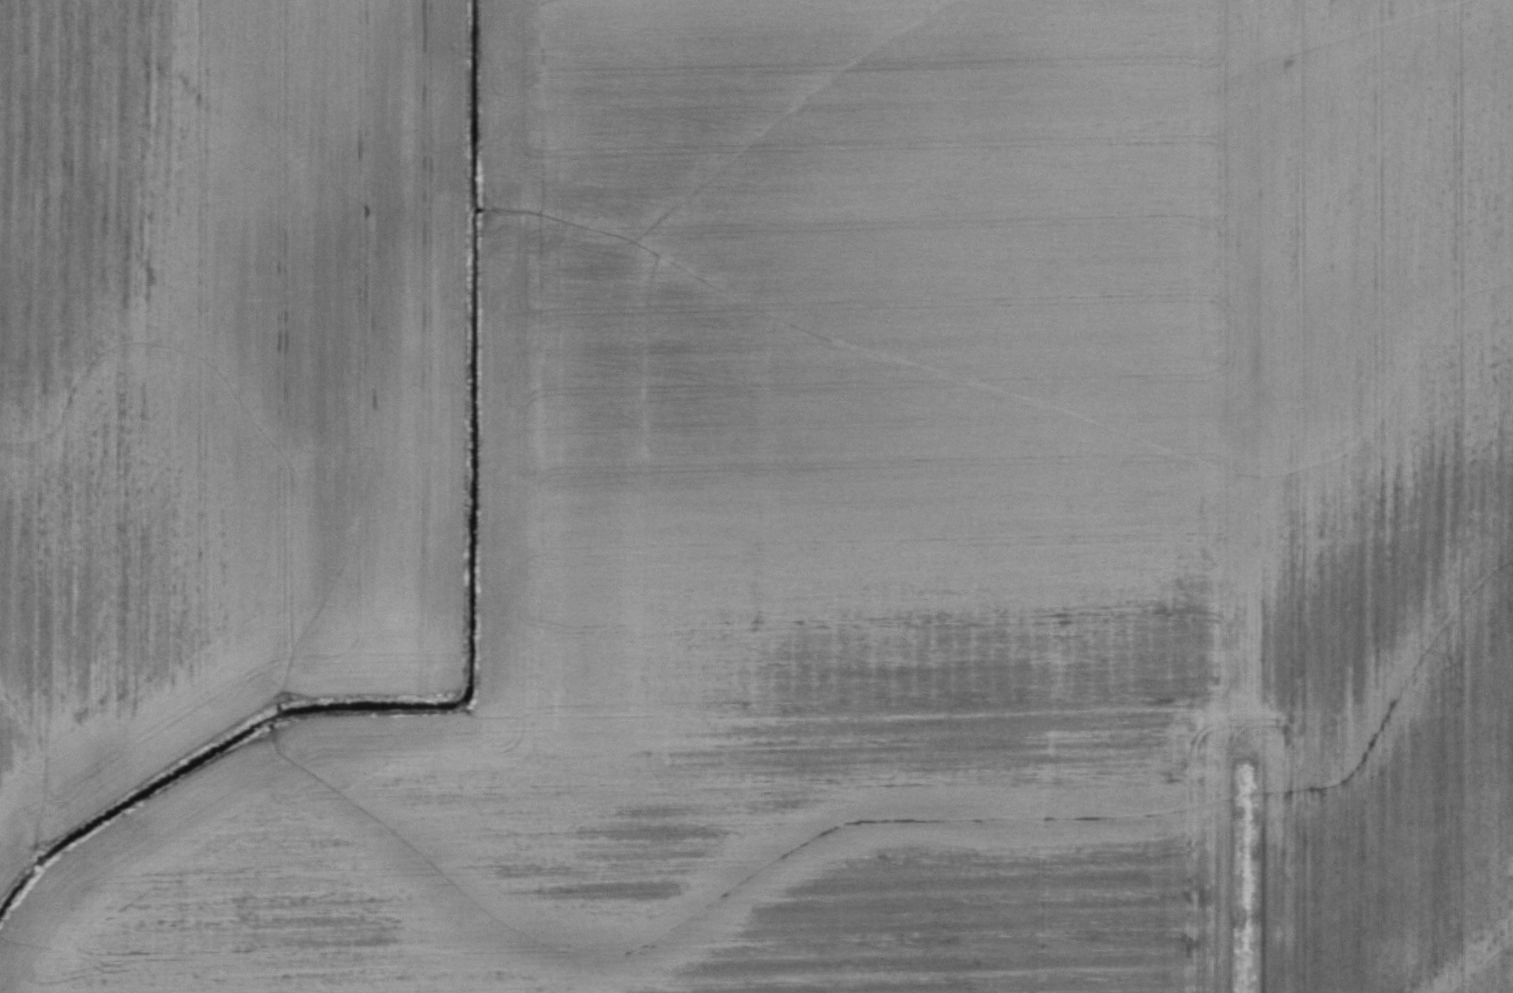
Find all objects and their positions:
airport runway: (1230, 369)
airport runway: (1233, 866)

